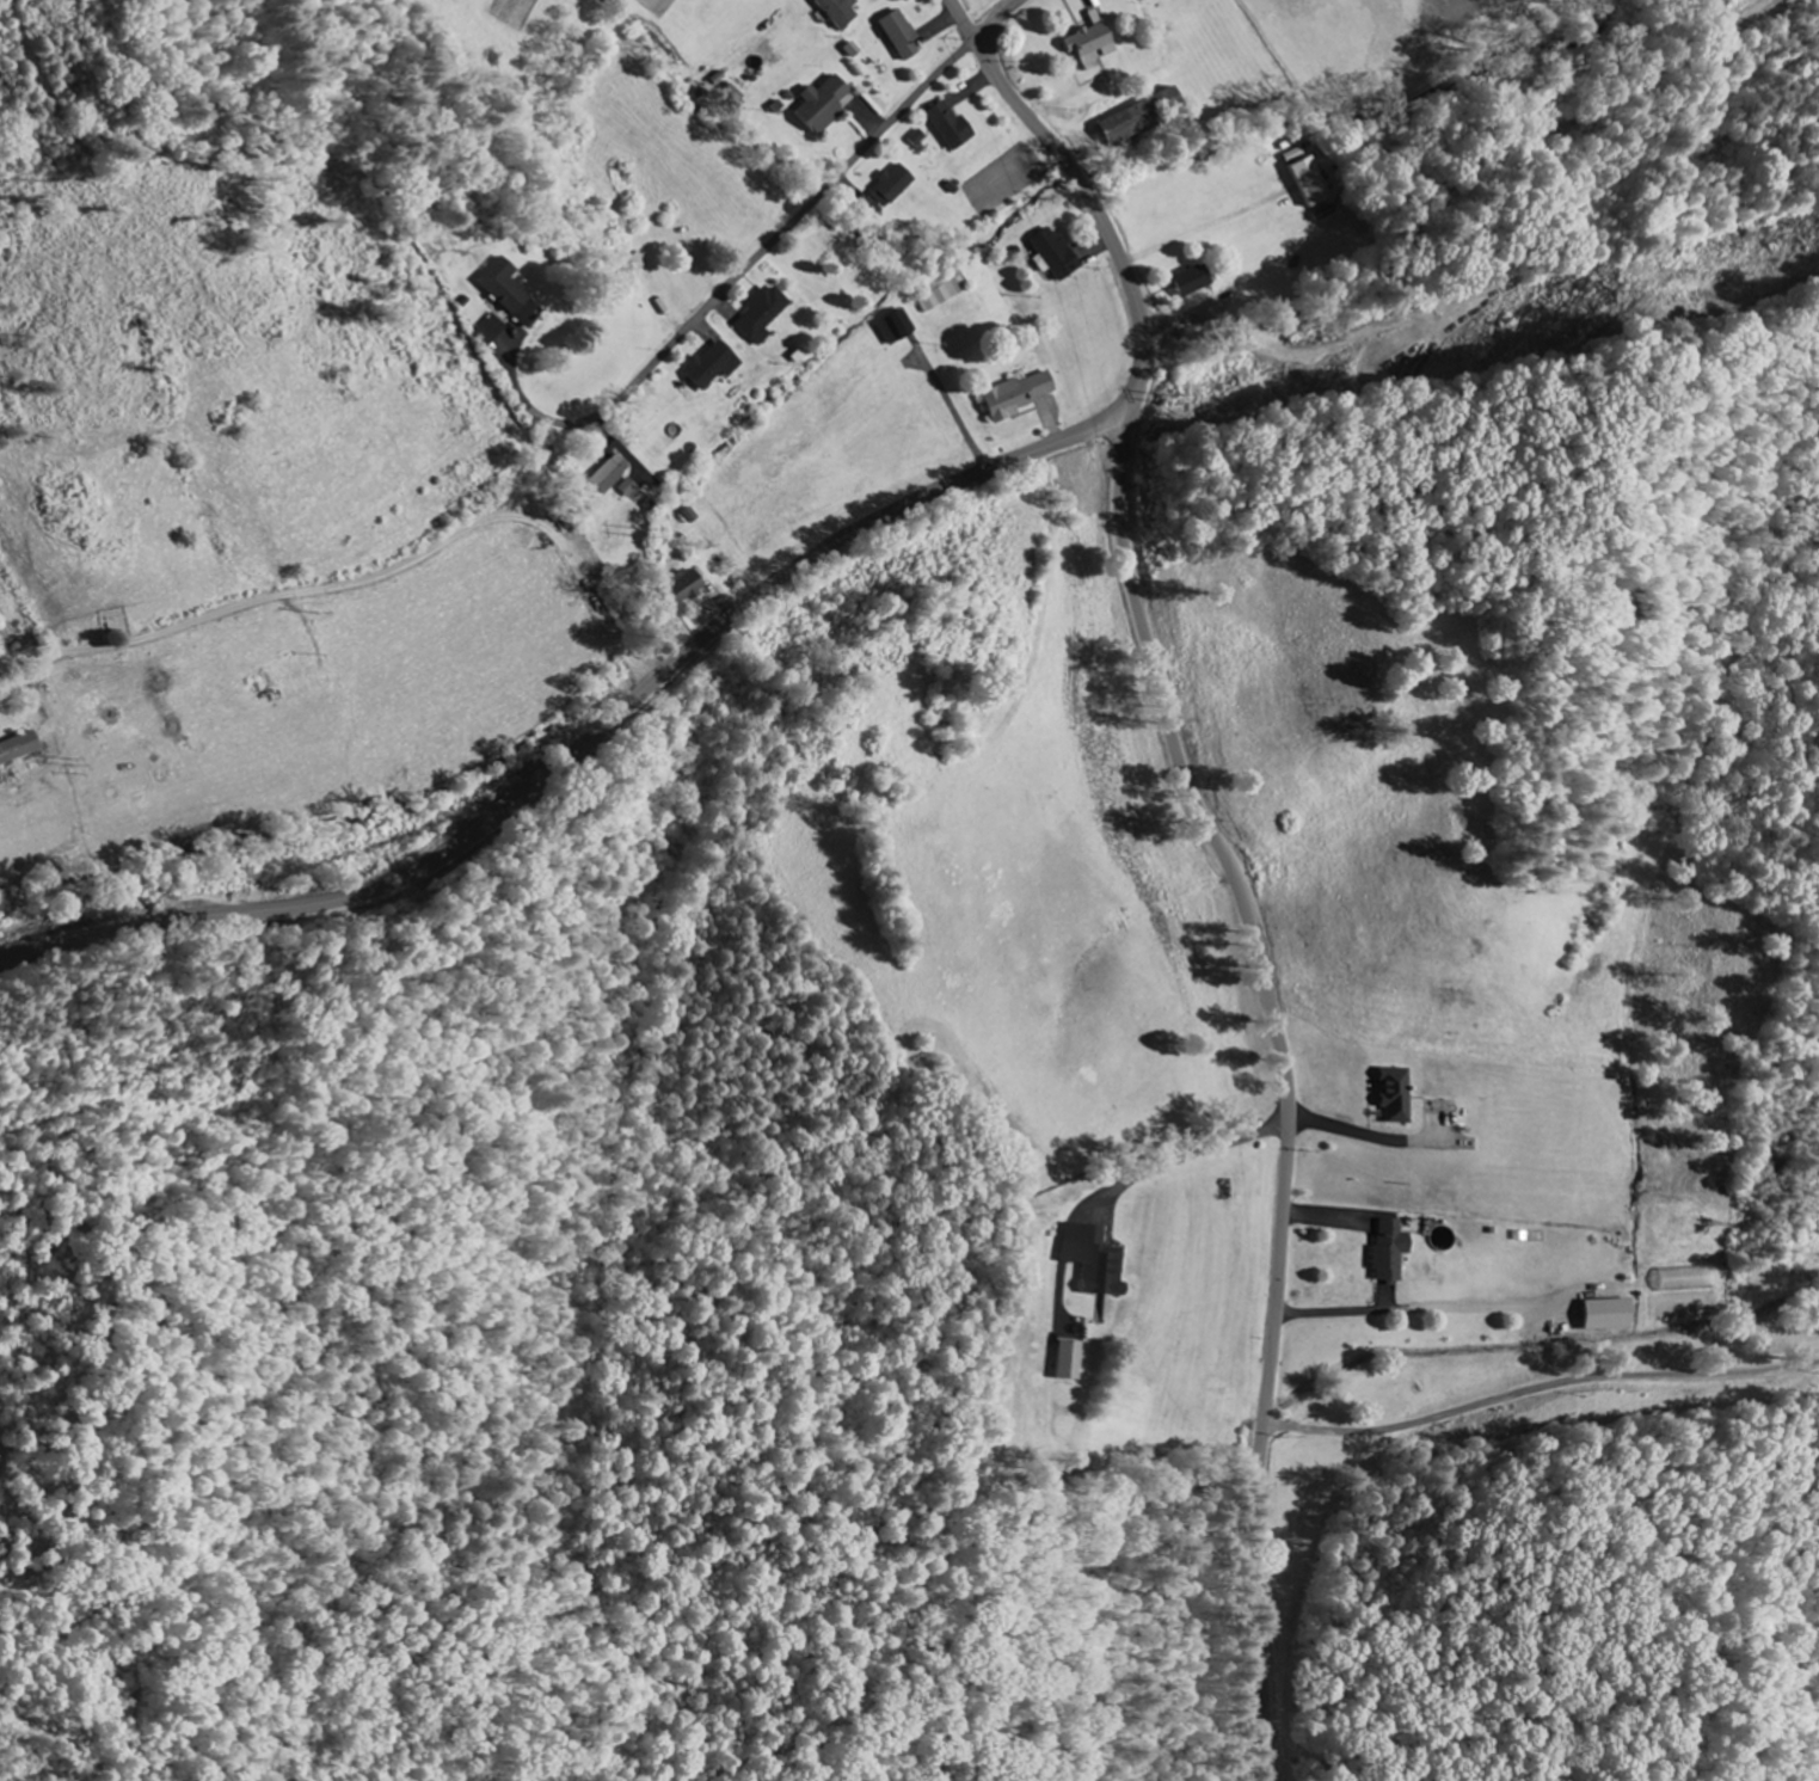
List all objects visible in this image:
building: (842, 12)
road: (961, 20)
road: (996, 20)
building: (904, 36)
building: (1094, 45)
building: (829, 105)
building: (1126, 125)
building: (953, 127)
road: (1458, 176)
building: (1311, 184)
building: (896, 188)
road: (774, 242)
building: (1058, 256)
building: (1194, 284)
building: (509, 293)
building: (766, 315)
building: (492, 328)
building: (901, 330)
building: (715, 367)
building: (1024, 397)
road: (524, 404)
building: (613, 475)
building: (629, 489)
building: (689, 586)
road: (745, 604)
building: (24, 750)
road: (1288, 1081)
building: (1405, 1095)
building: (1442, 1240)
building: (1393, 1251)
building: (1691, 1279)
building: (1614, 1315)
building: (1070, 1361)

